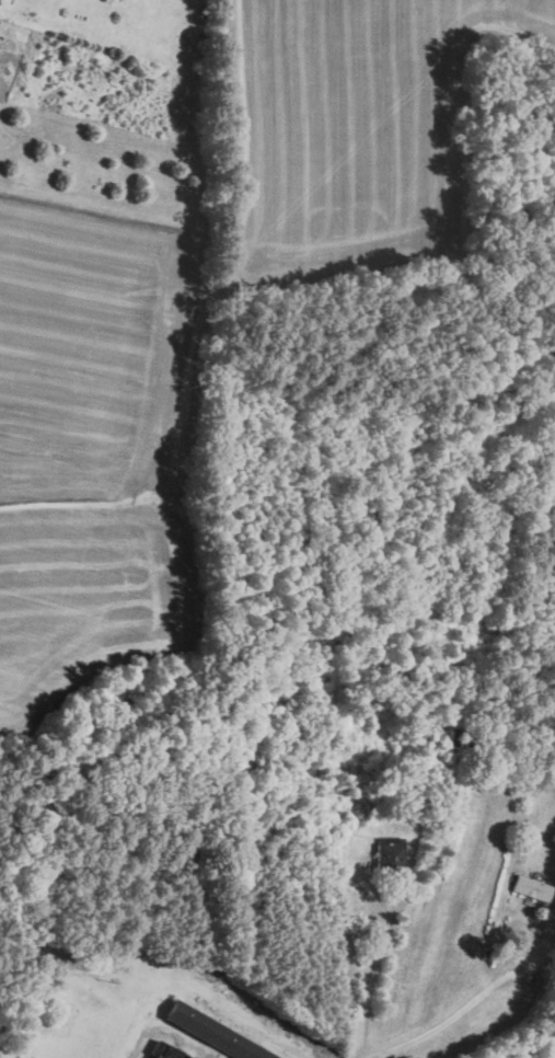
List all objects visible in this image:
building: (389, 850)
building: (531, 887)
road: (464, 1009)
building: (218, 1033)
building: (165, 1050)

